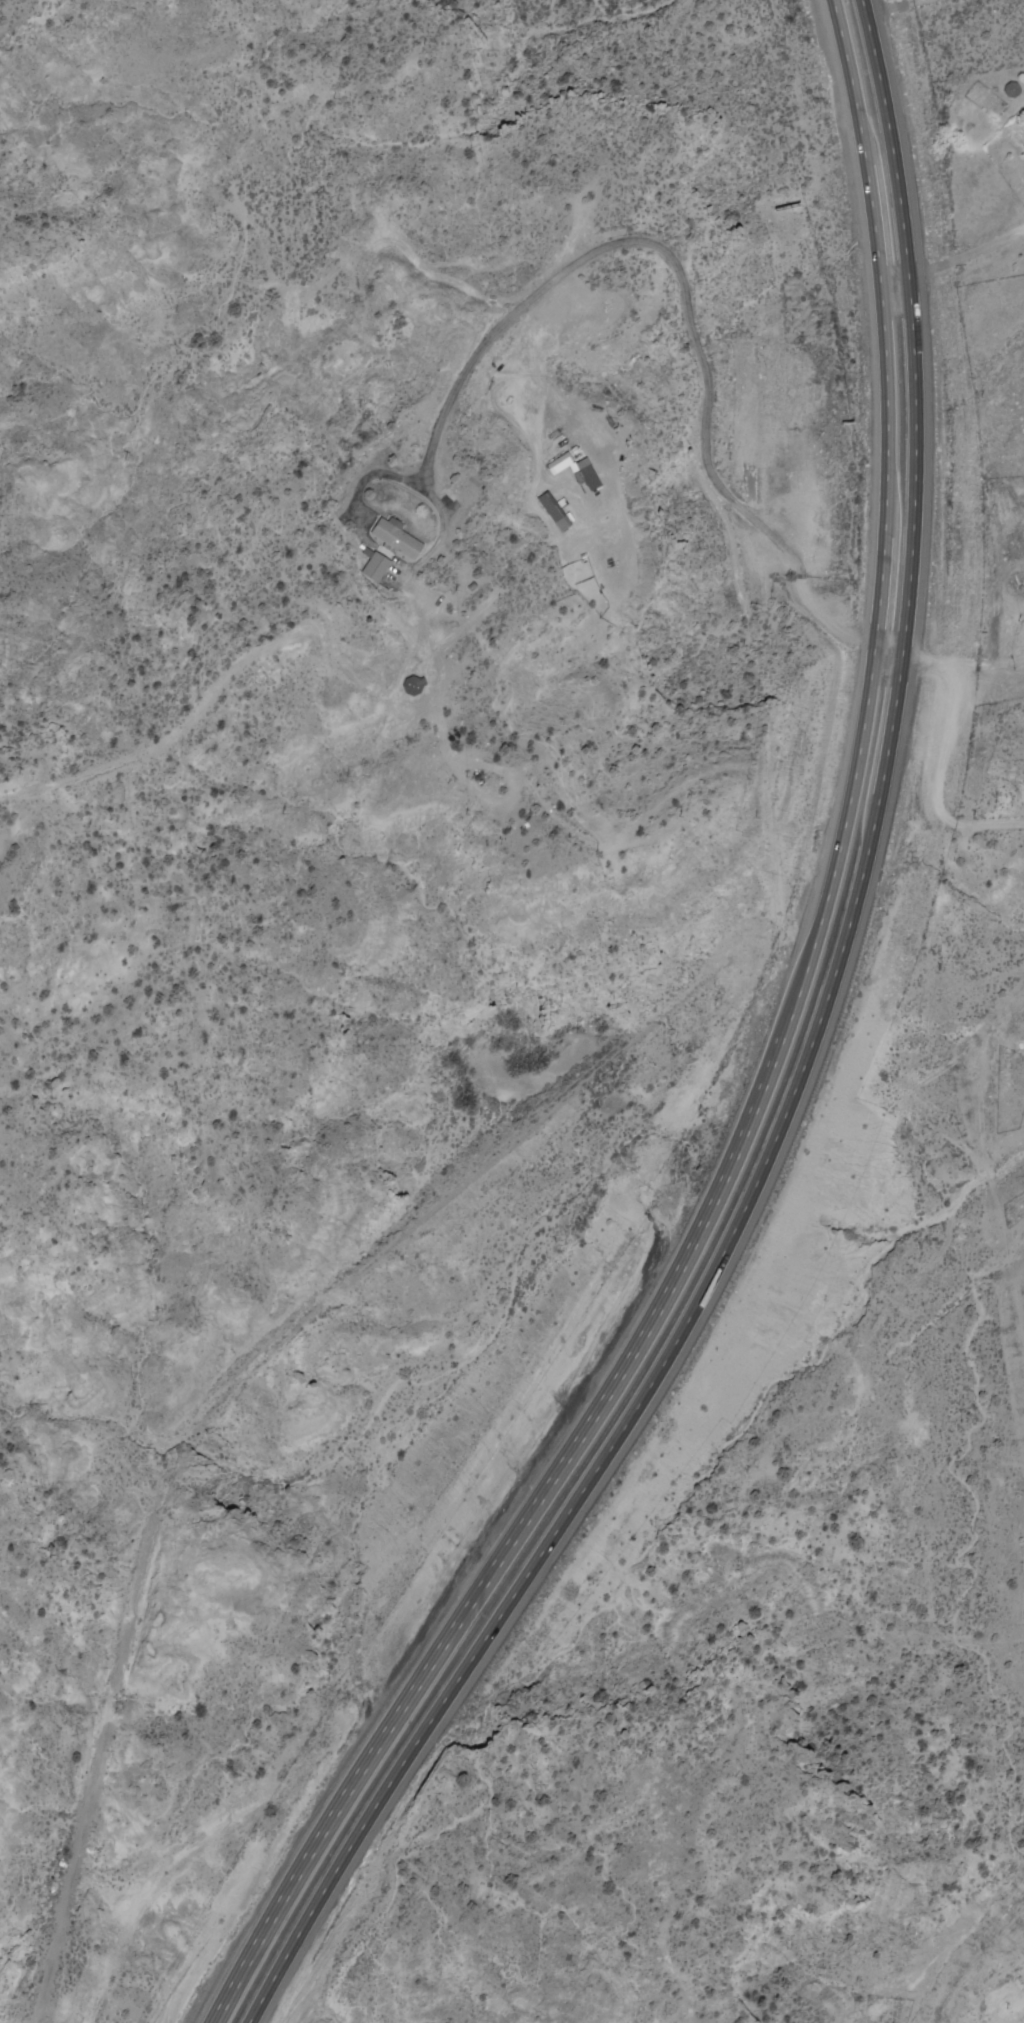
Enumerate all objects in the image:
road: (482, 345)
building: (560, 463)
building: (590, 476)
building: (554, 511)
building: (395, 537)
building: (377, 566)
road: (772, 1078)
road: (804, 1078)

